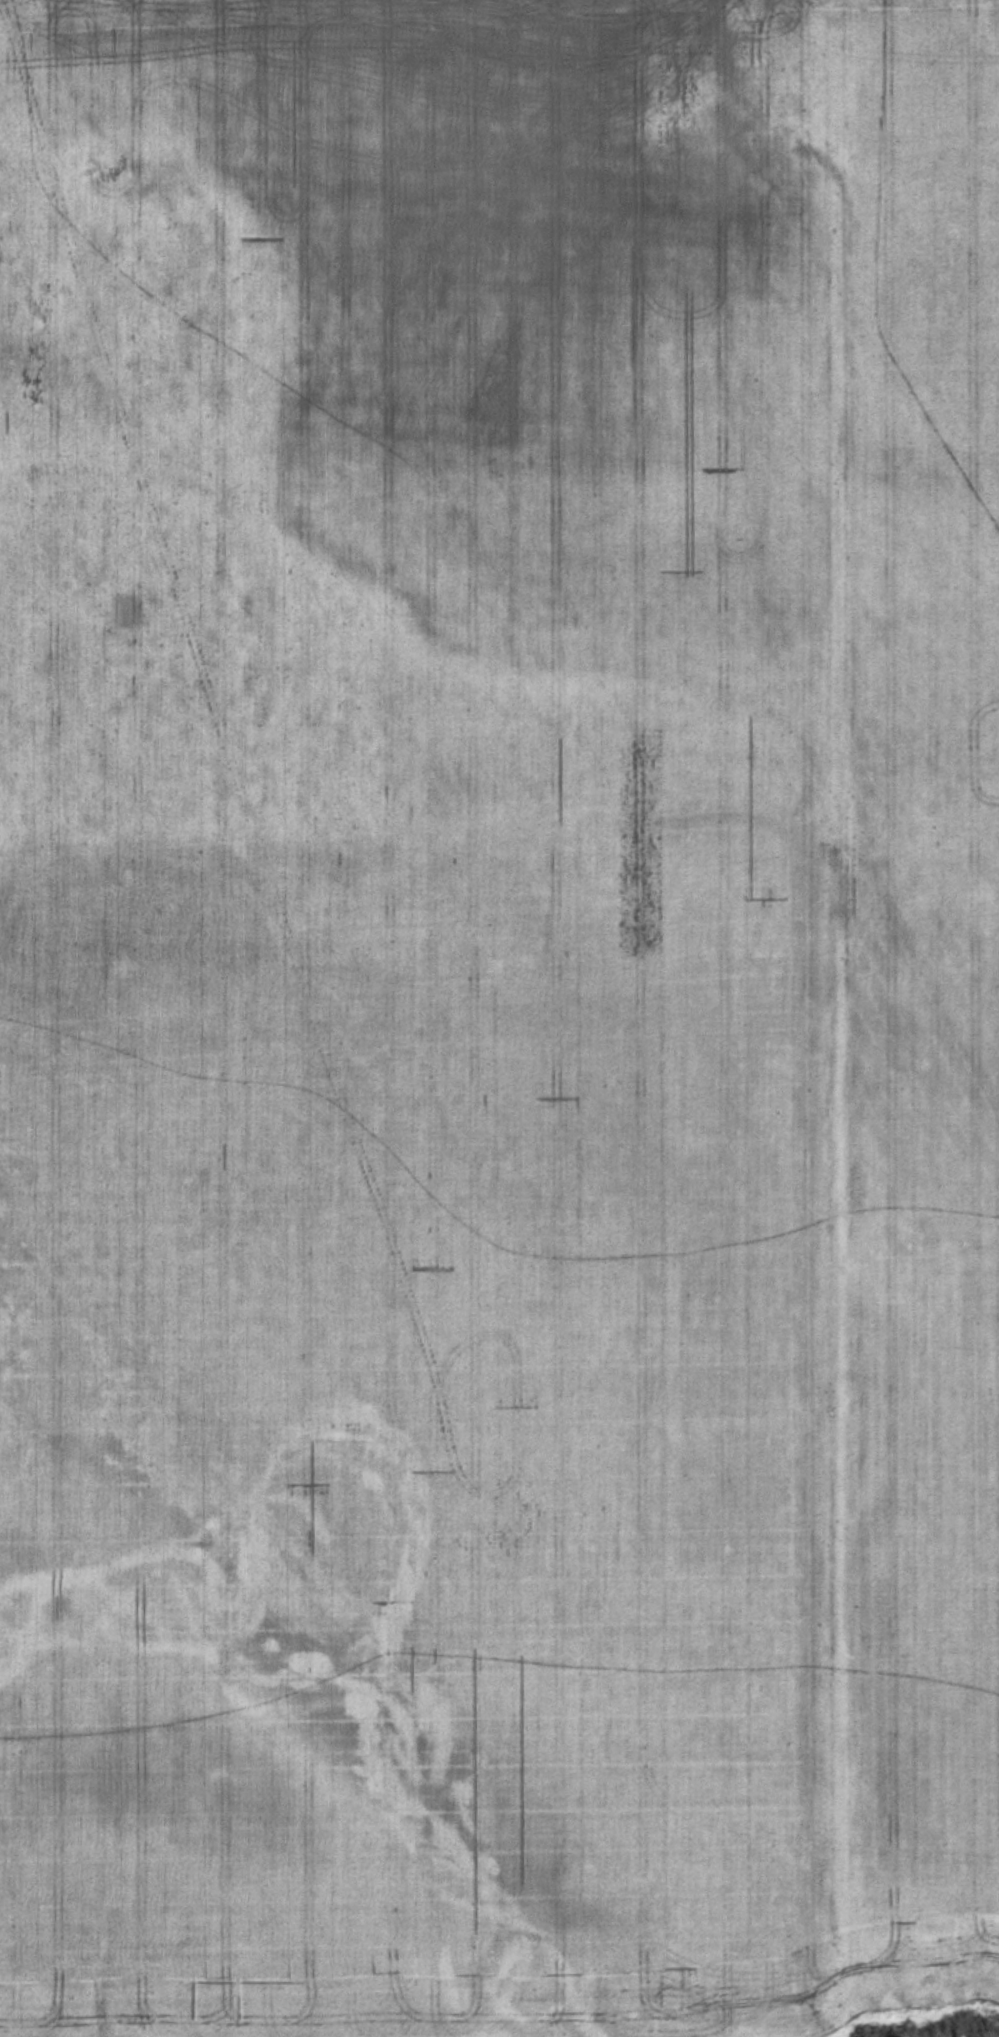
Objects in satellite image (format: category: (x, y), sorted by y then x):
road: (725, 61)
building: (786, 83)

